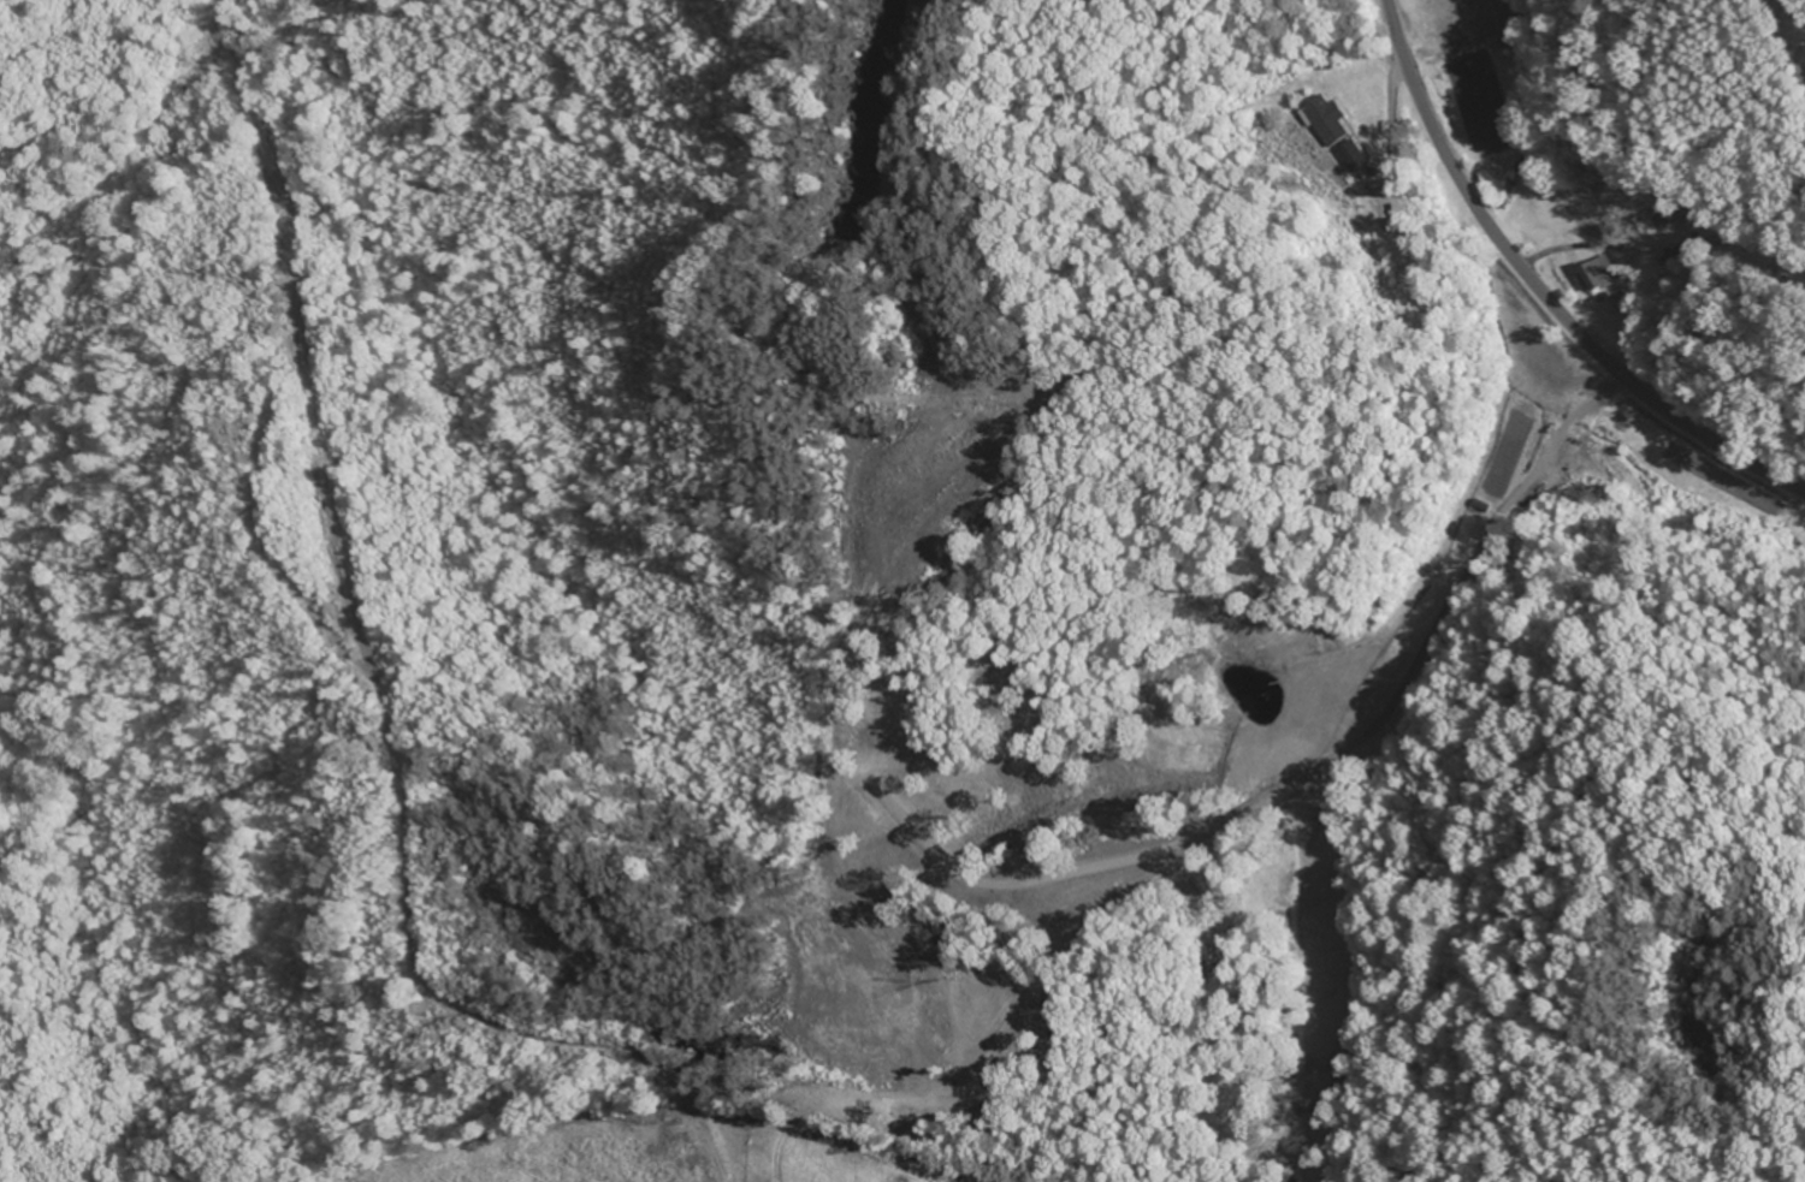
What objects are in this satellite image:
building: (1342, 133)
building: (1599, 273)
road: (1543, 291)
building: (1602, 467)

